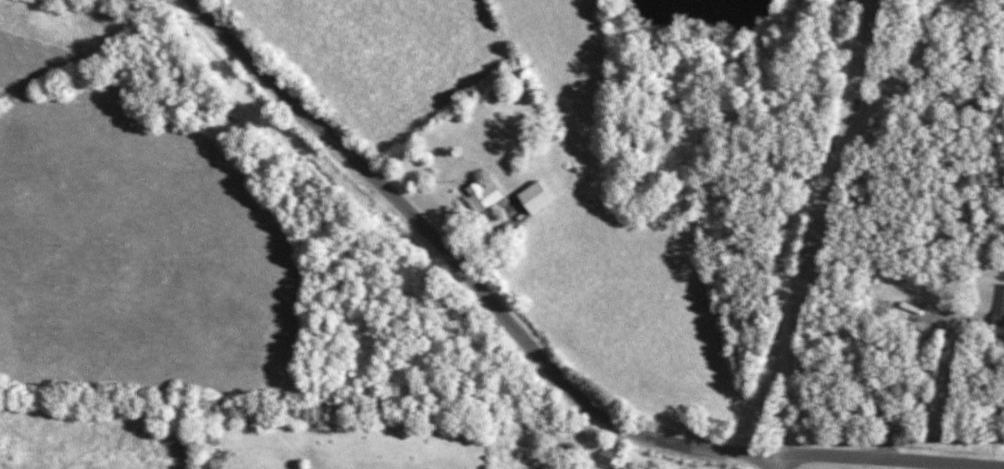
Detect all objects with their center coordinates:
building: (478, 195)
building: (531, 197)
road: (796, 214)
building: (997, 305)
road: (538, 352)
building: (607, 459)

